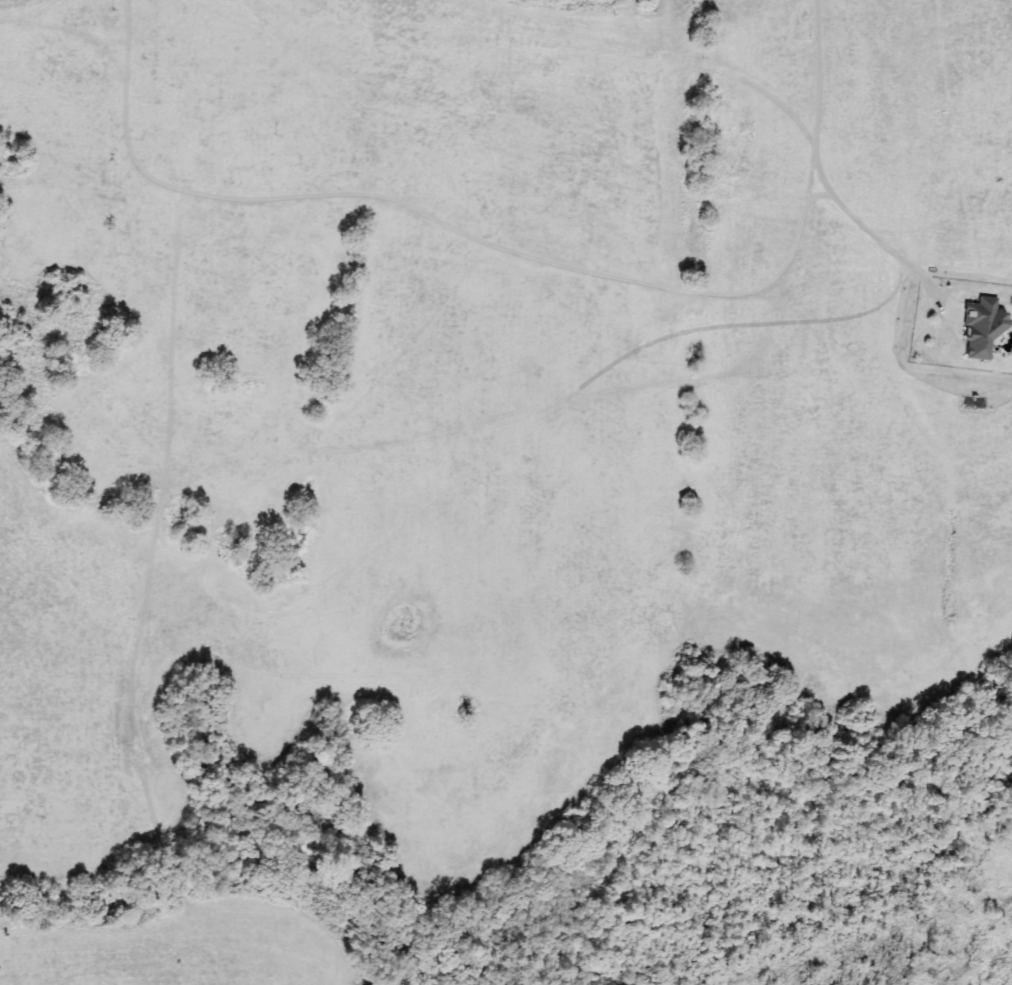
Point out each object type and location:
road: (817, 174)
building: (983, 327)

